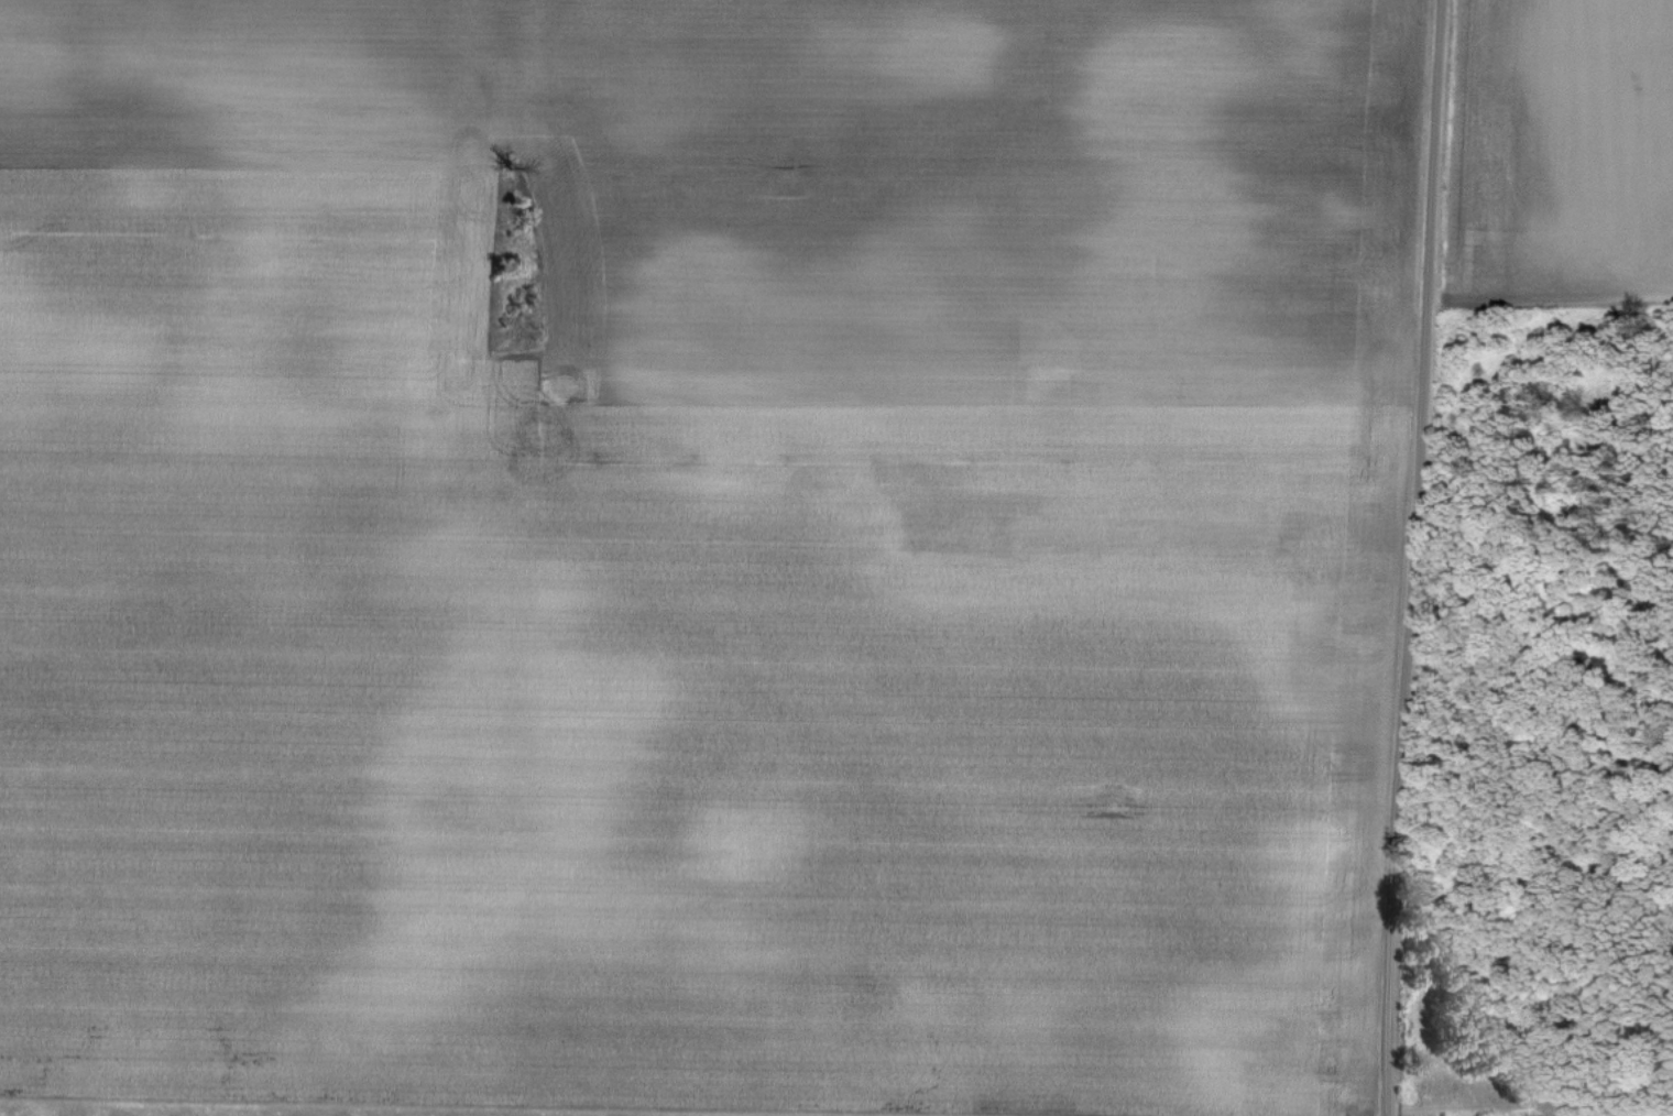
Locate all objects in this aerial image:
road: (1414, 558)

